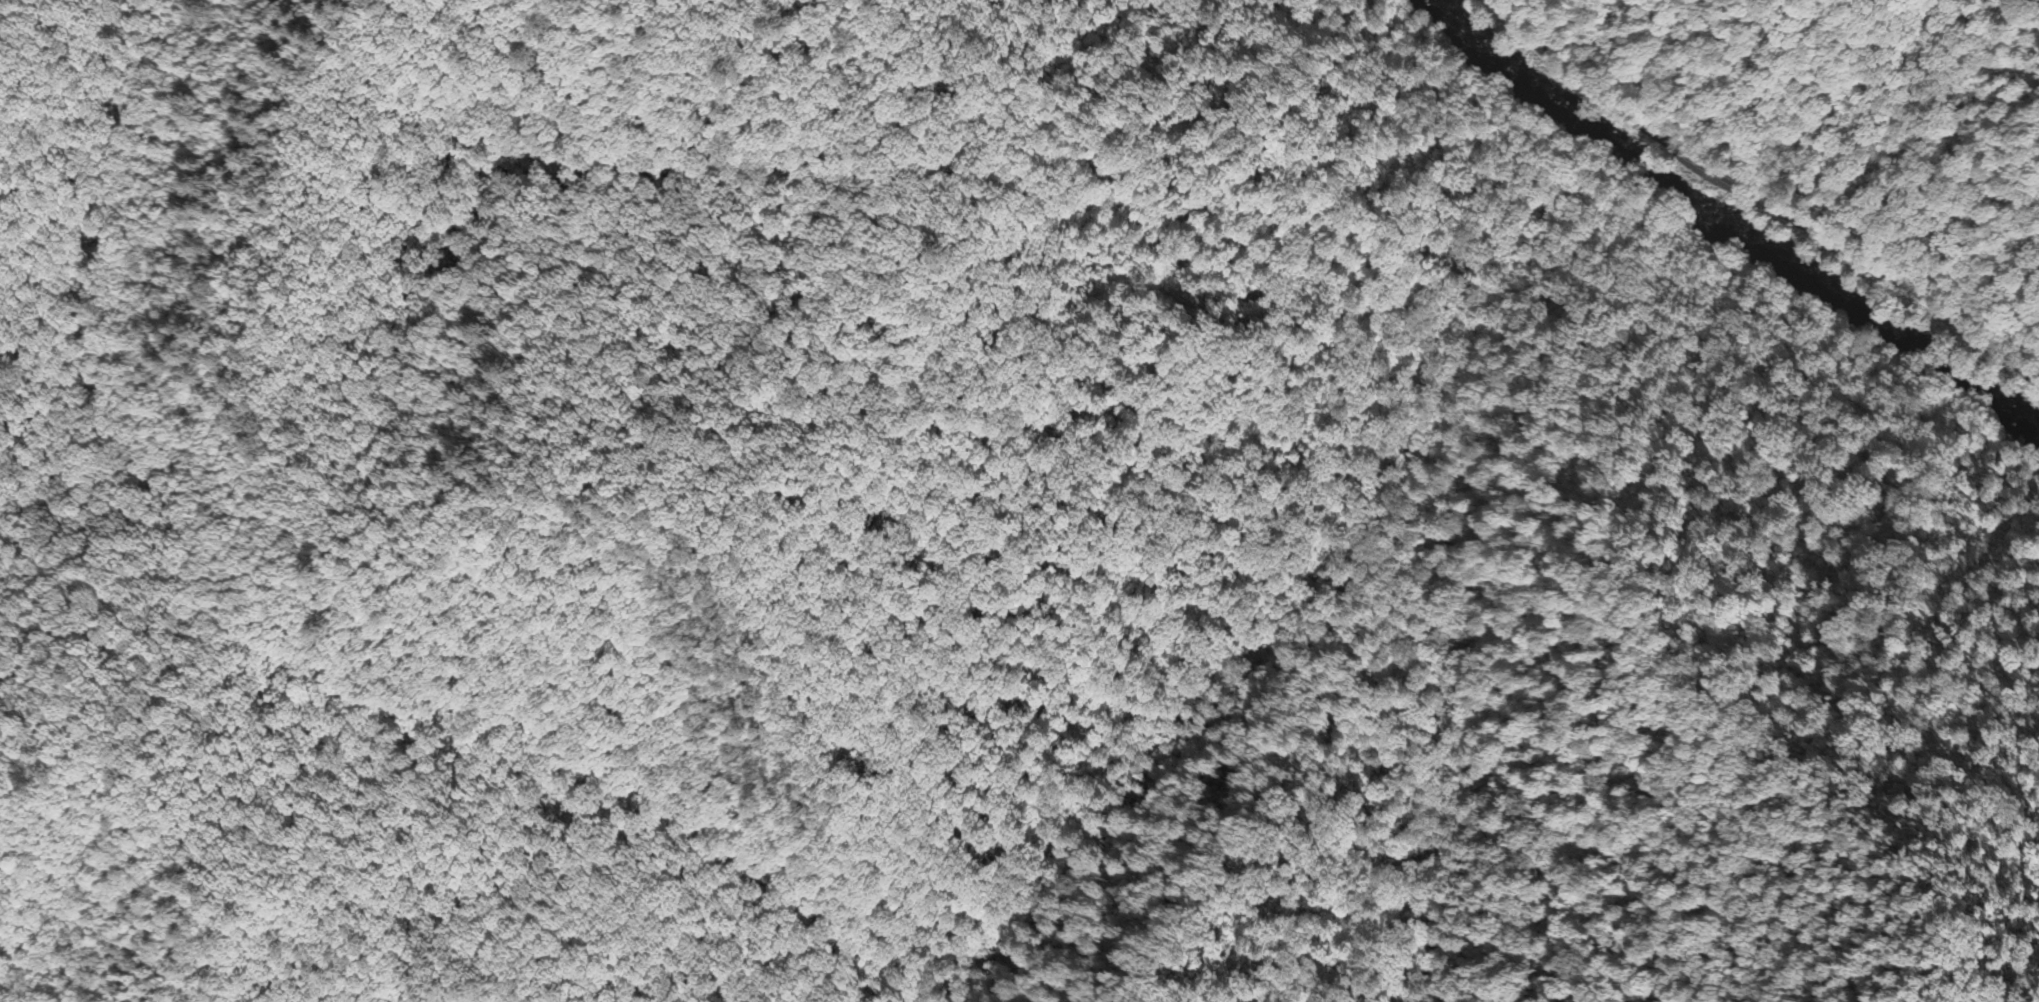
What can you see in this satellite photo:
river: (1506, 42)
road: (1761, 198)
river: (1787, 260)

